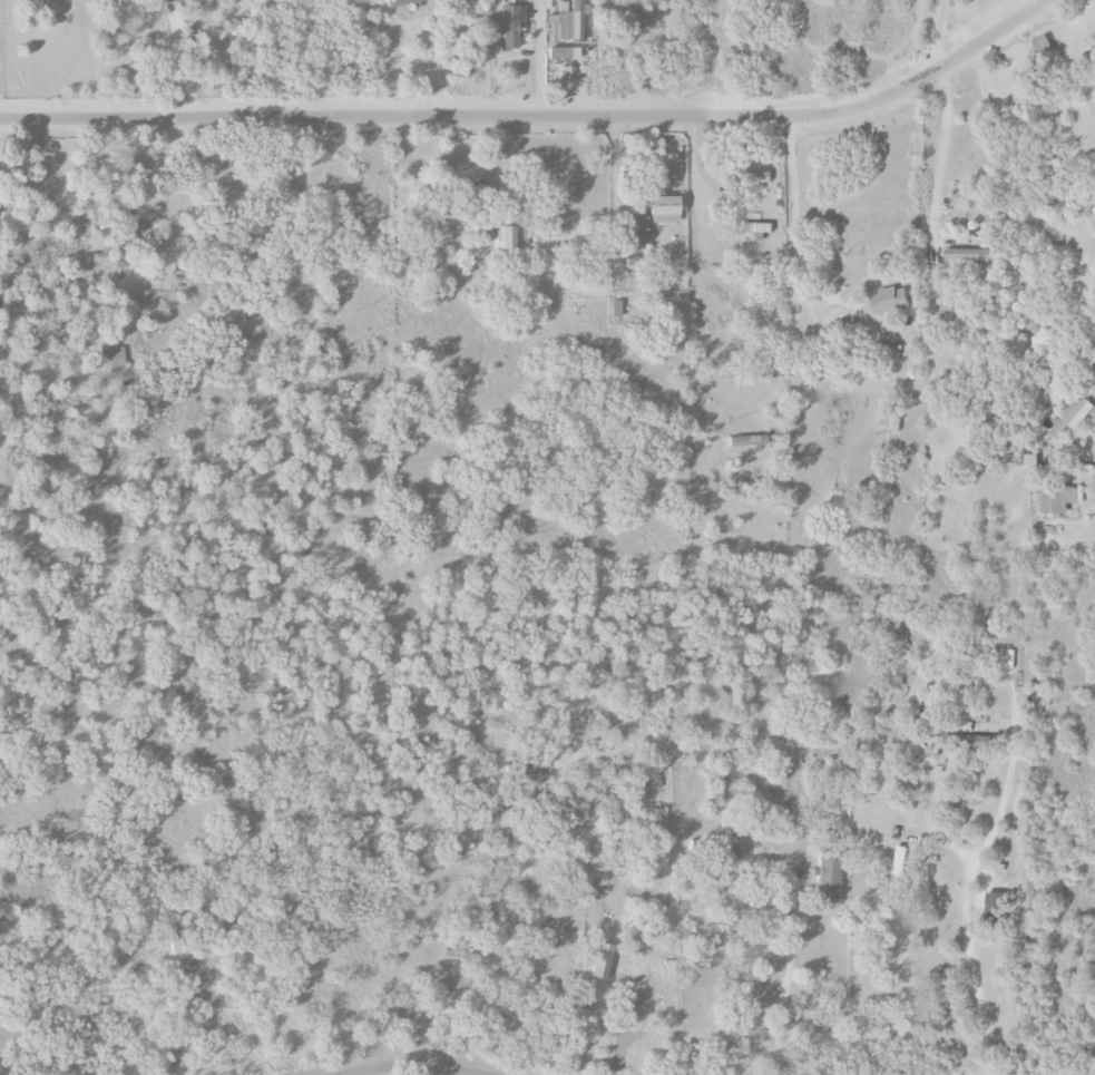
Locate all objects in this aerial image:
building: (173, 1)
building: (402, 3)
building: (568, 21)
building: (509, 28)
road: (931, 31)
building: (1044, 45)
building: (564, 53)
road: (532, 57)
road: (431, 68)
road: (535, 116)
road: (939, 155)
road: (607, 165)
road: (499, 167)
building: (665, 209)
building: (639, 224)
building: (753, 227)
building: (138, 229)
road: (792, 231)
building: (158, 240)
building: (512, 240)
building: (635, 244)
building: (969, 254)
building: (887, 300)
building: (617, 309)
building: (887, 351)
building: (116, 360)
building: (1069, 417)
building: (896, 424)
building: (753, 440)
building: (1027, 463)
building: (1054, 499)
building: (968, 740)
building: (732, 856)
road: (747, 856)
building: (900, 863)
road: (968, 873)
building: (827, 877)
building: (176, 942)
building: (602, 961)
road: (236, 1034)
road: (781, 1064)
road: (412, 1065)

